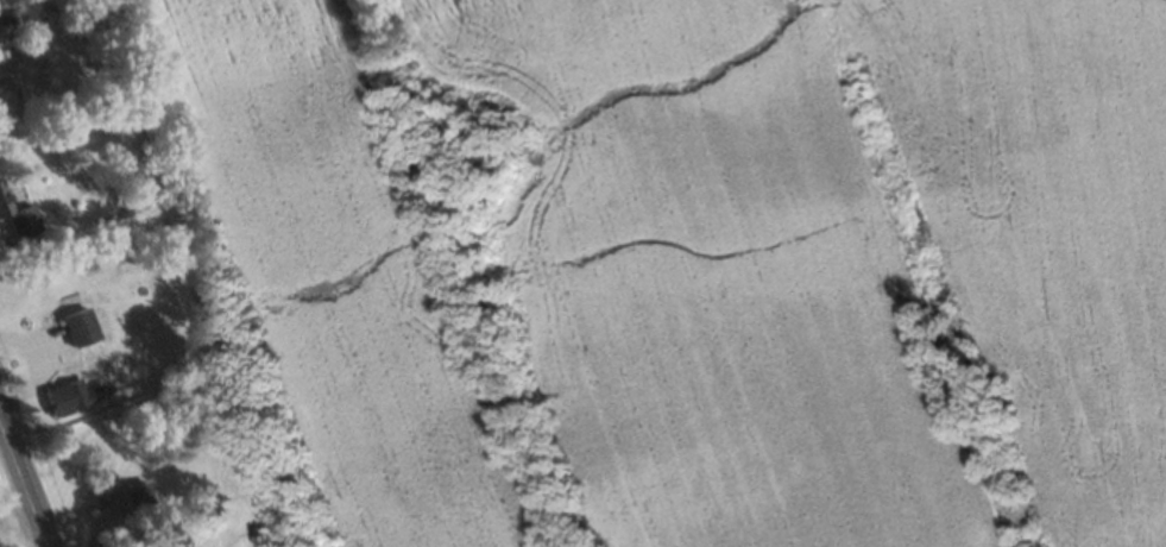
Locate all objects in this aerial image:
building: (7, 23)
building: (18, 214)
crop: (687, 263)
building: (80, 326)
building: (67, 396)
road: (21, 489)
building: (137, 499)
building: (149, 546)

